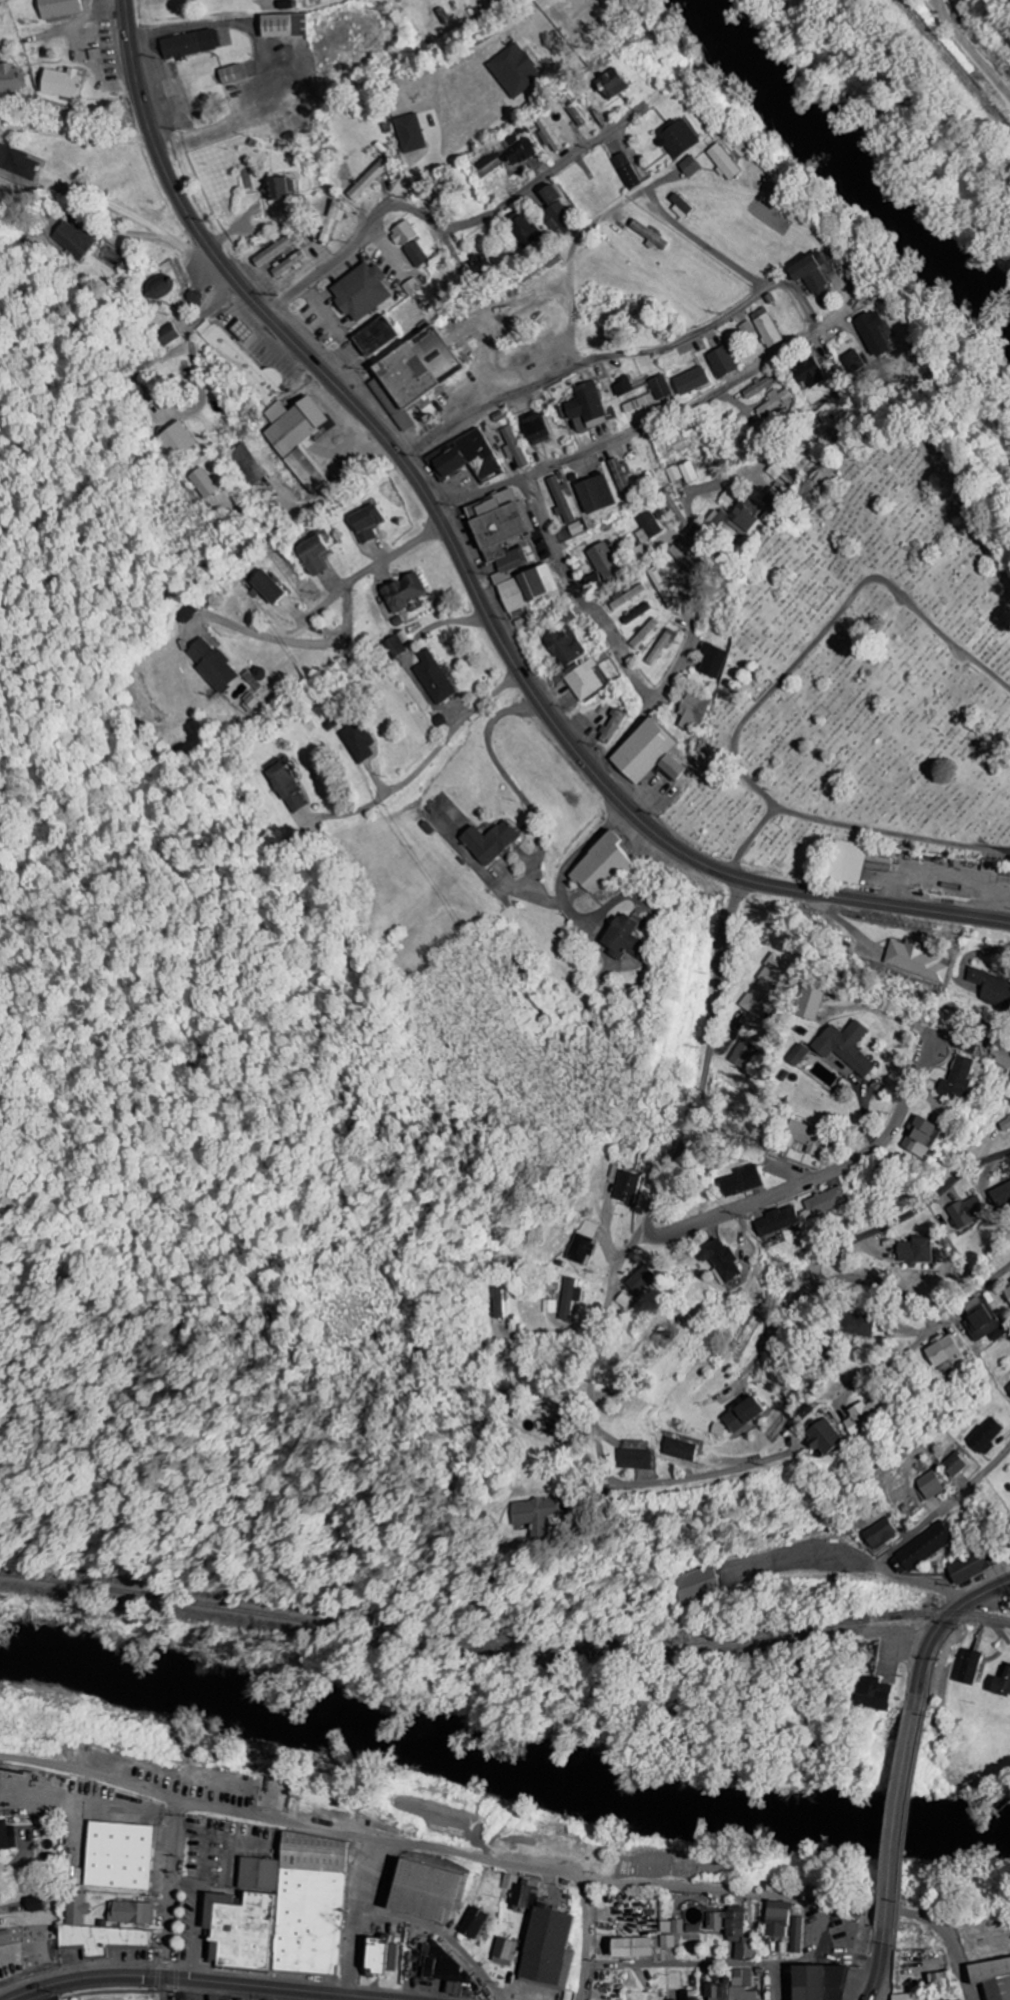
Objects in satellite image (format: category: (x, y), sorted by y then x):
building: (58, 9)
building: (284, 27)
building: (190, 45)
road: (971, 50)
railway: (957, 63)
building: (515, 71)
building: (230, 75)
building: (11, 79)
building: (61, 84)
building: (612, 84)
road: (489, 124)
building: (410, 133)
building: (678, 137)
building: (509, 153)
building: (724, 161)
building: (17, 162)
building: (690, 166)
river: (857, 166)
building: (626, 171)
building: (368, 181)
building: (281, 187)
building: (552, 195)
building: (680, 205)
building: (562, 218)
building: (331, 221)
road: (447, 223)
building: (524, 228)
building: (403, 233)
building: (649, 235)
building: (76, 239)
road: (581, 240)
building: (276, 250)
building: (416, 254)
building: (481, 261)
building: (289, 265)
building: (811, 273)
building: (411, 287)
building: (360, 291)
building: (194, 298)
building: (767, 327)
building: (875, 334)
building: (168, 335)
building: (375, 336)
road: (621, 353)
building: (723, 361)
building: (244, 363)
building: (416, 366)
building: (810, 374)
building: (692, 381)
building: (623, 385)
building: (761, 386)
building: (651, 396)
building: (775, 402)
building: (587, 408)
road: (672, 414)
building: (302, 430)
building: (537, 430)
building: (177, 439)
building: (514, 448)
building: (468, 458)
building: (244, 460)
building: (682, 473)
building: (622, 479)
building: (205, 483)
building: (596, 494)
building: (561, 500)
building: (773, 500)
building: (675, 509)
building: (738, 516)
building: (367, 523)
building: (649, 528)
building: (510, 554)
building: (316, 556)
building: (603, 560)
building: (682, 560)
road: (469, 577)
building: (267, 587)
building: (664, 589)
building: (403, 592)
building: (628, 598)
building: (188, 613)
building: (637, 614)
road: (608, 631)
building: (645, 634)
building: (396, 645)
building: (565, 645)
building: (661, 648)
road: (808, 650)
road: (681, 660)
building: (712, 661)
building: (212, 665)
park: (862, 669)
building: (434, 678)
building: (584, 681)
building: (691, 712)
building: (612, 726)
building: (358, 742)
building: (647, 754)
road: (425, 763)
building: (287, 788)
road: (888, 833)
building: (489, 842)
building: (847, 862)
building: (602, 866)
building: (625, 938)
building: (915, 961)
building: (767, 986)
building: (992, 987)
building: (811, 1003)
building: (846, 1047)
building: (744, 1054)
building: (1000, 1054)
building: (799, 1055)
building: (958, 1079)
building: (1005, 1124)
building: (805, 1137)
building: (920, 1137)
road: (813, 1176)
building: (742, 1182)
building: (627, 1187)
building: (1000, 1194)
building: (827, 1202)
building: (778, 1221)
building: (584, 1242)
road: (845, 1244)
building: (914, 1251)
building: (721, 1261)
road: (613, 1265)
building: (641, 1280)
building: (1006, 1293)
building: (570, 1300)
building: (624, 1301)
building: (499, 1303)
building: (550, 1307)
building: (977, 1321)
building: (855, 1325)
building: (939, 1352)
building: (1008, 1389)
building: (742, 1415)
building: (859, 1417)
building: (718, 1430)
building: (986, 1436)
building: (822, 1438)
building: (680, 1450)
building: (636, 1460)
building: (956, 1465)
building: (931, 1487)
building: (534, 1513)
building: (881, 1534)
road: (912, 1535)
building: (923, 1549)
building: (973, 1566)
building: (699, 1585)
road: (941, 1629)
railway: (504, 1643)
building: (969, 1668)
building: (1002, 1684)
building: (876, 1694)
river: (499, 1772)
road: (910, 1821)
building: (7, 1837)
building: (118, 1855)
road: (505, 1863)
building: (426, 1890)
road: (172, 1900)
building: (34, 1905)
building: (283, 1909)
building: (131, 1913)
road: (358, 1916)
road: (420, 1916)
building: (777, 1918)
building: (474, 1923)
building: (679, 1926)
building: (95, 1932)
building: (734, 1932)
building: (796, 1935)
building: (4, 1936)
building: (541, 1937)
road: (588, 1939)
building: (669, 1942)
building: (631, 1947)
building: (504, 1951)
building: (380, 1954)
road: (676, 1964)
road: (881, 1965)
road: (488, 1966)
building: (992, 1977)
building: (938, 1980)
road: (206, 1981)
building: (818, 1982)
building: (733, 1988)
building: (689, 1995)
building: (904, 1997)

